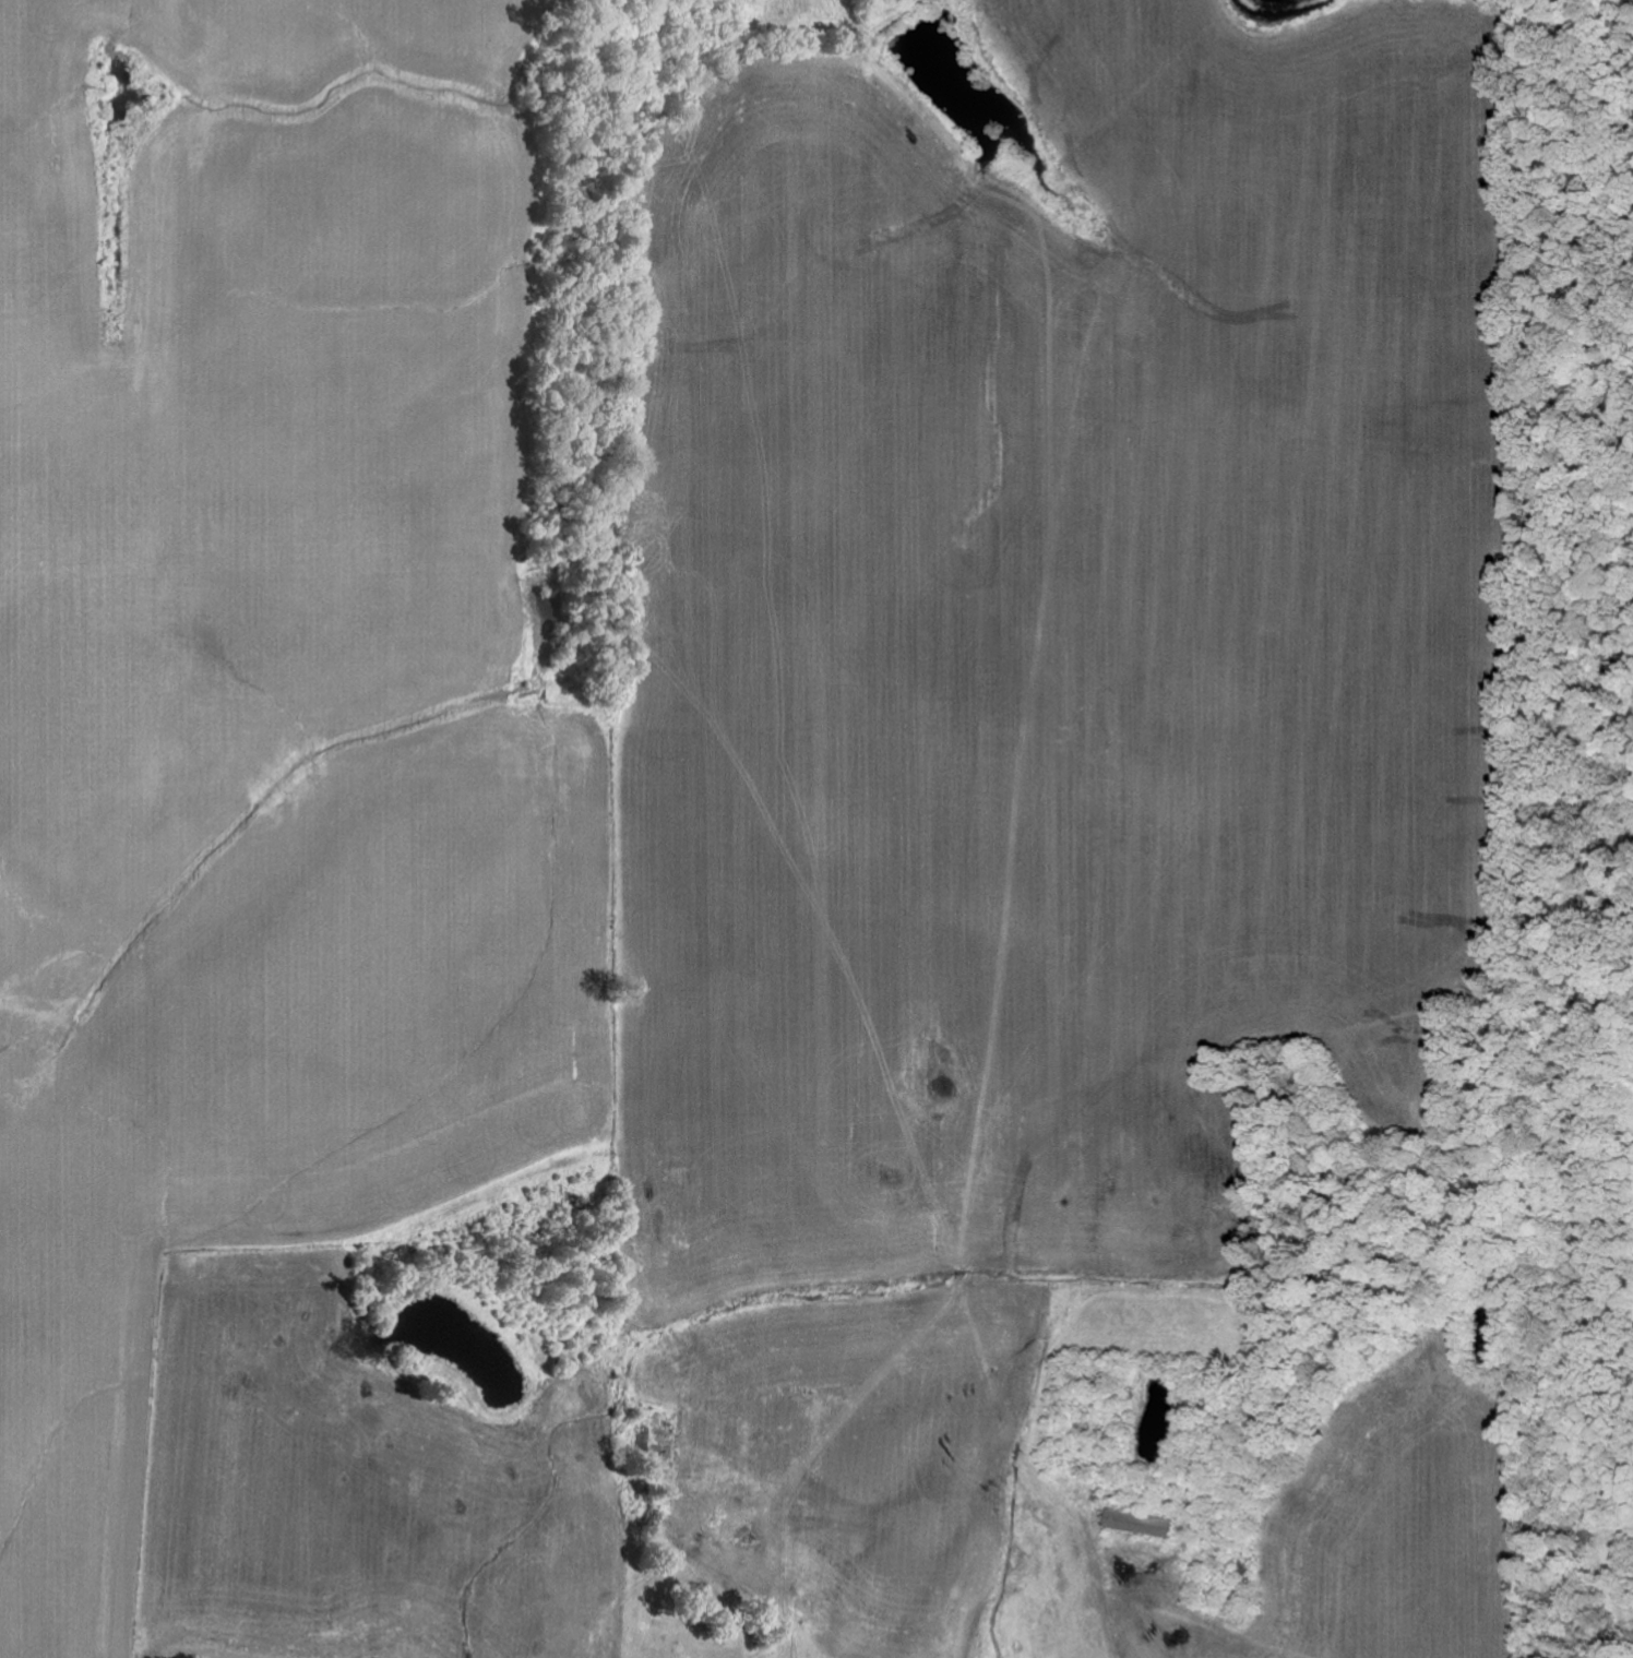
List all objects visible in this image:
building: (1136, 1524)

